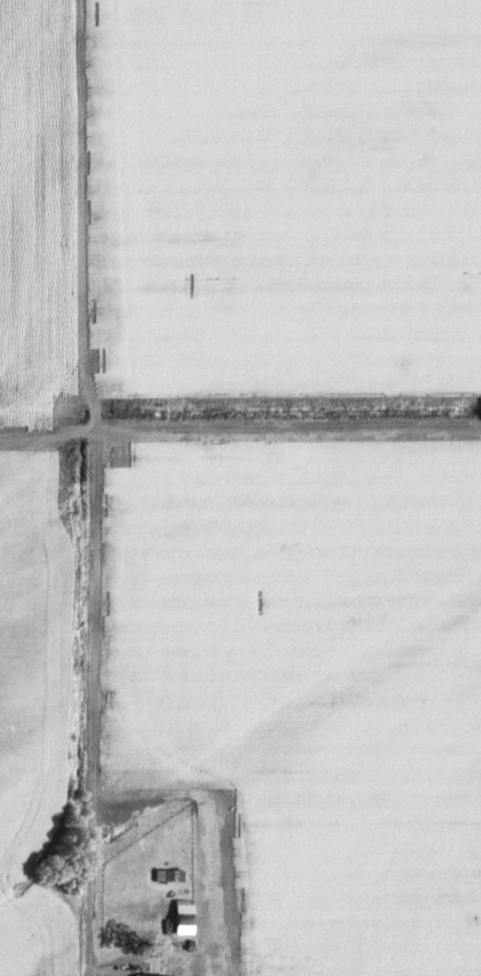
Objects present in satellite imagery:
road: (240, 433)
road: (80, 704)
building: (166, 877)
building: (177, 923)
building: (146, 975)

